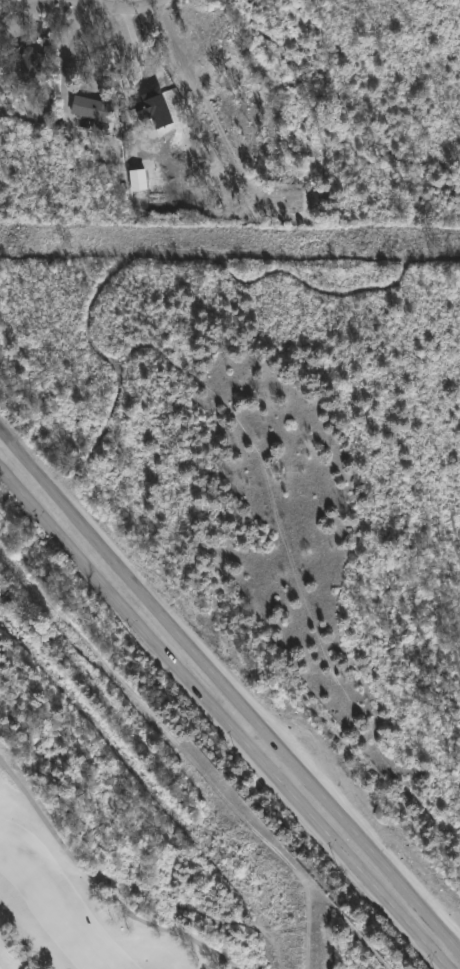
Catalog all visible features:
road: (118, 8)
building: (32, 64)
building: (97, 114)
power tower: (65, 243)
power tower: (433, 247)
road: (231, 679)
road: (222, 716)
park: (93, 858)
road: (100, 883)

